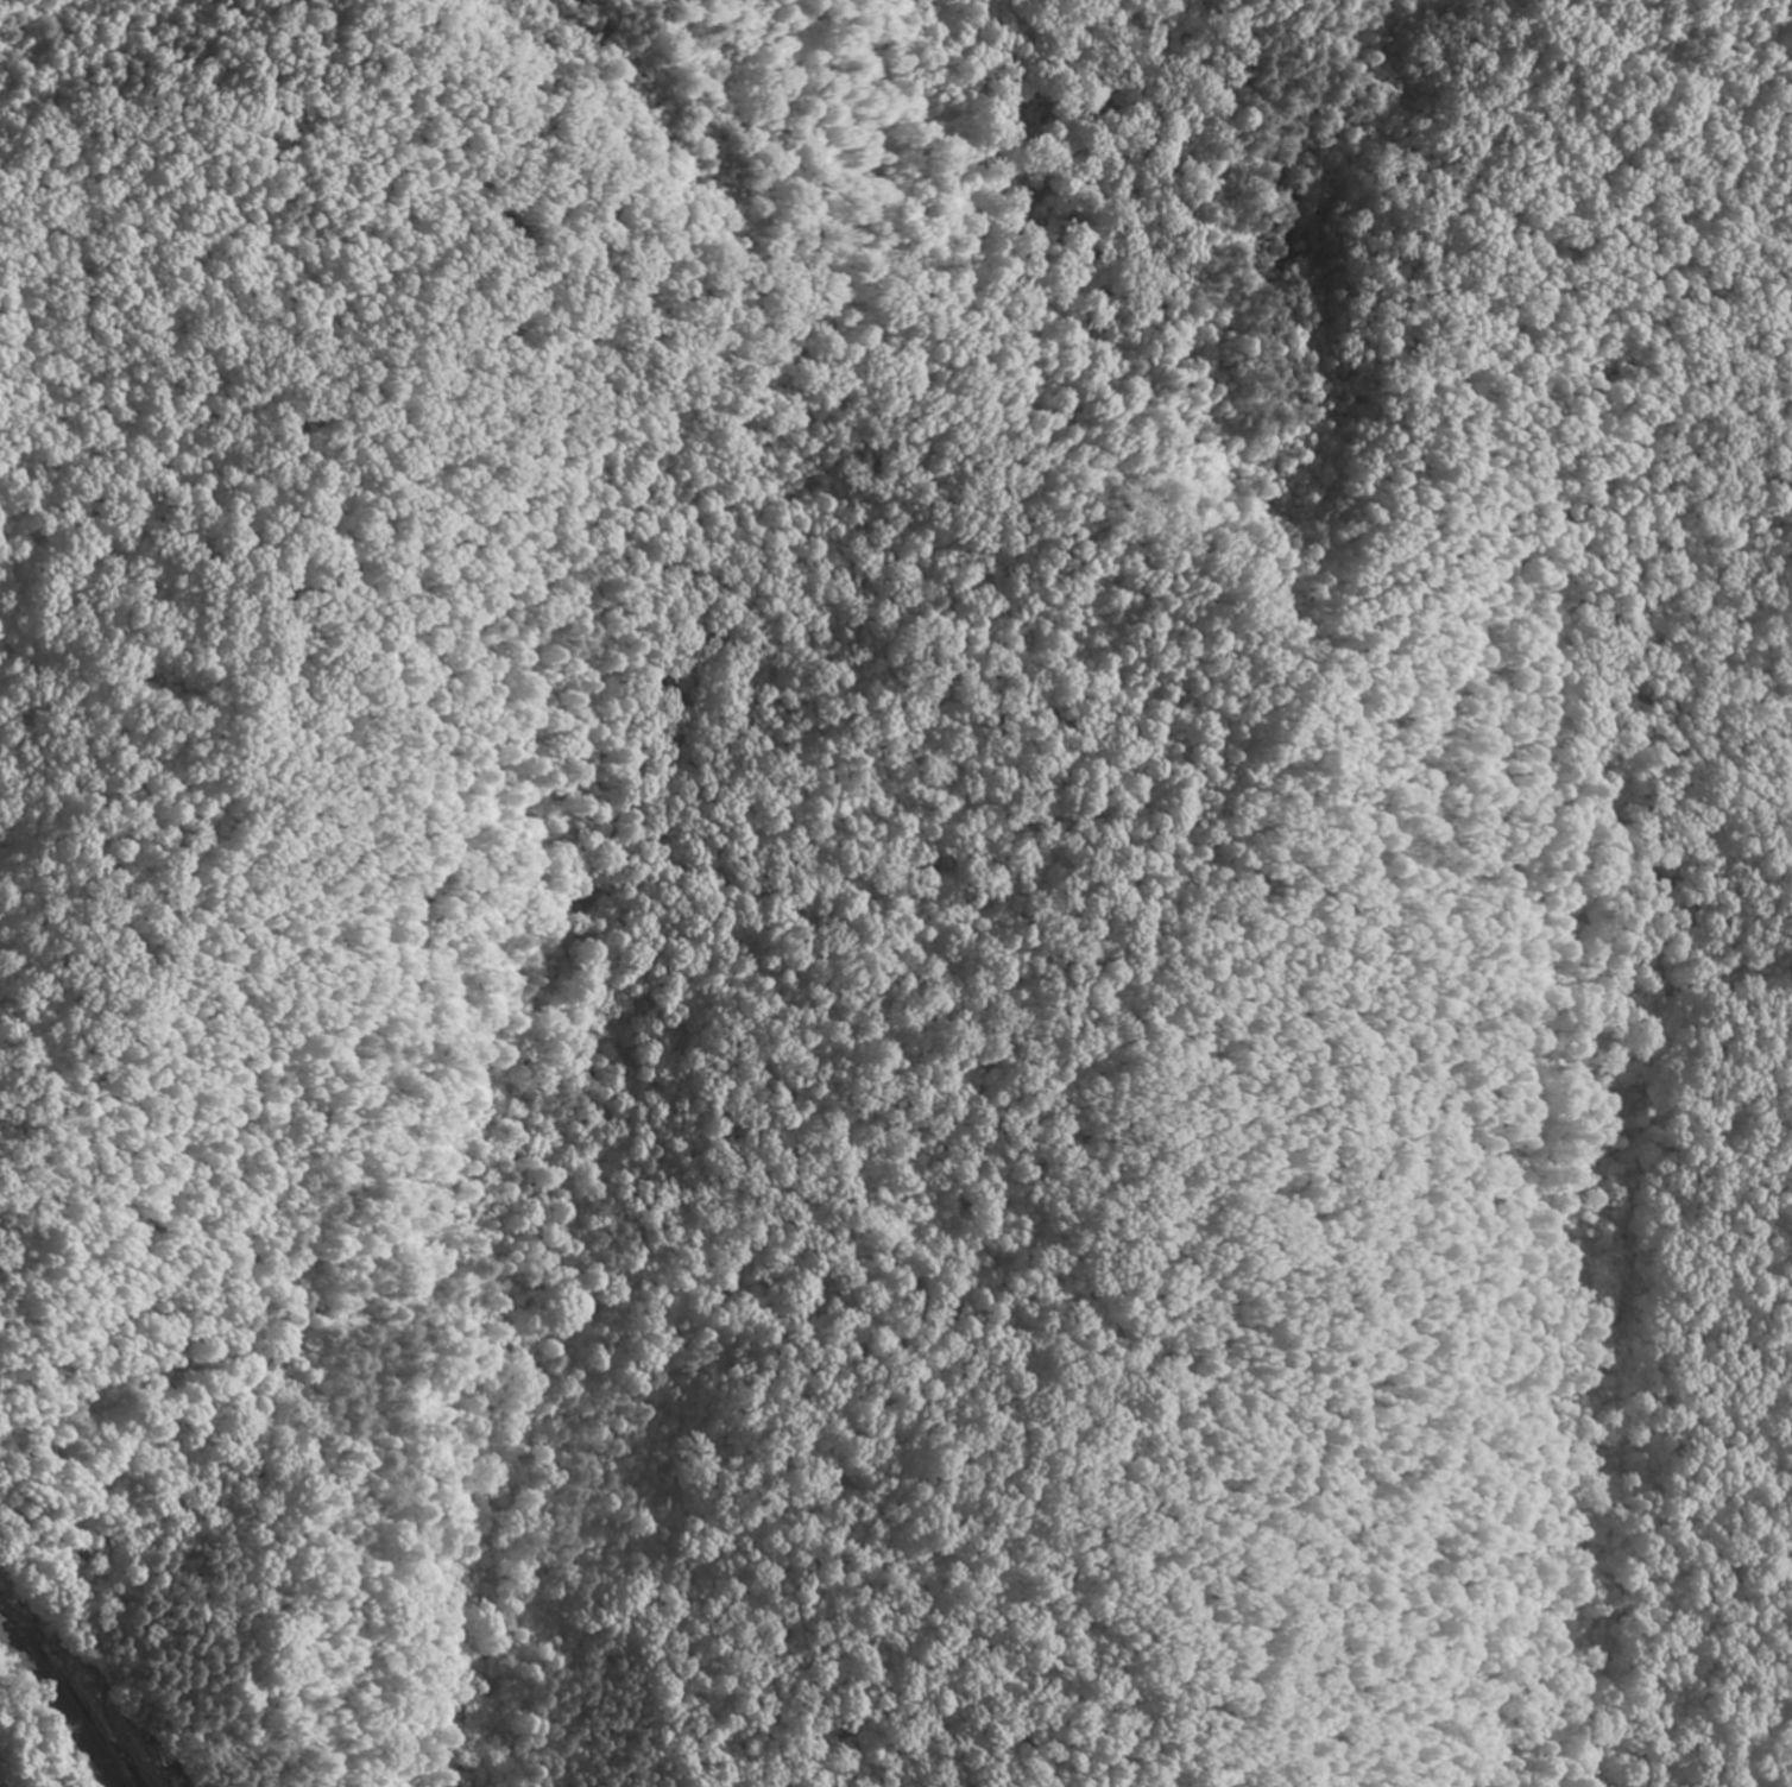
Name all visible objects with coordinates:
road: (64, 1706)

